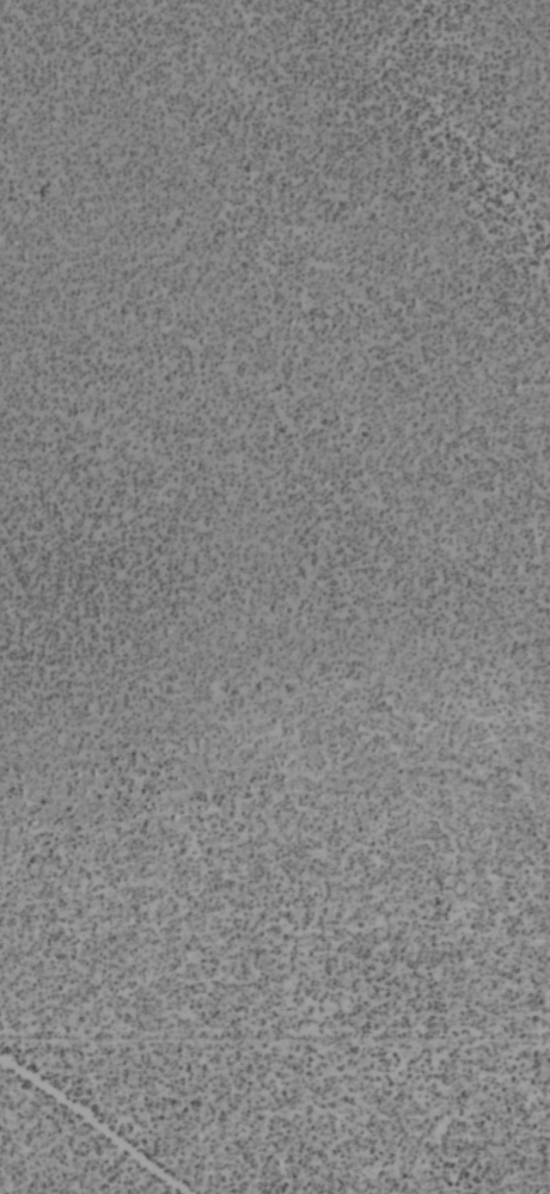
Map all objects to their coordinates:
road: (104, 1118)

